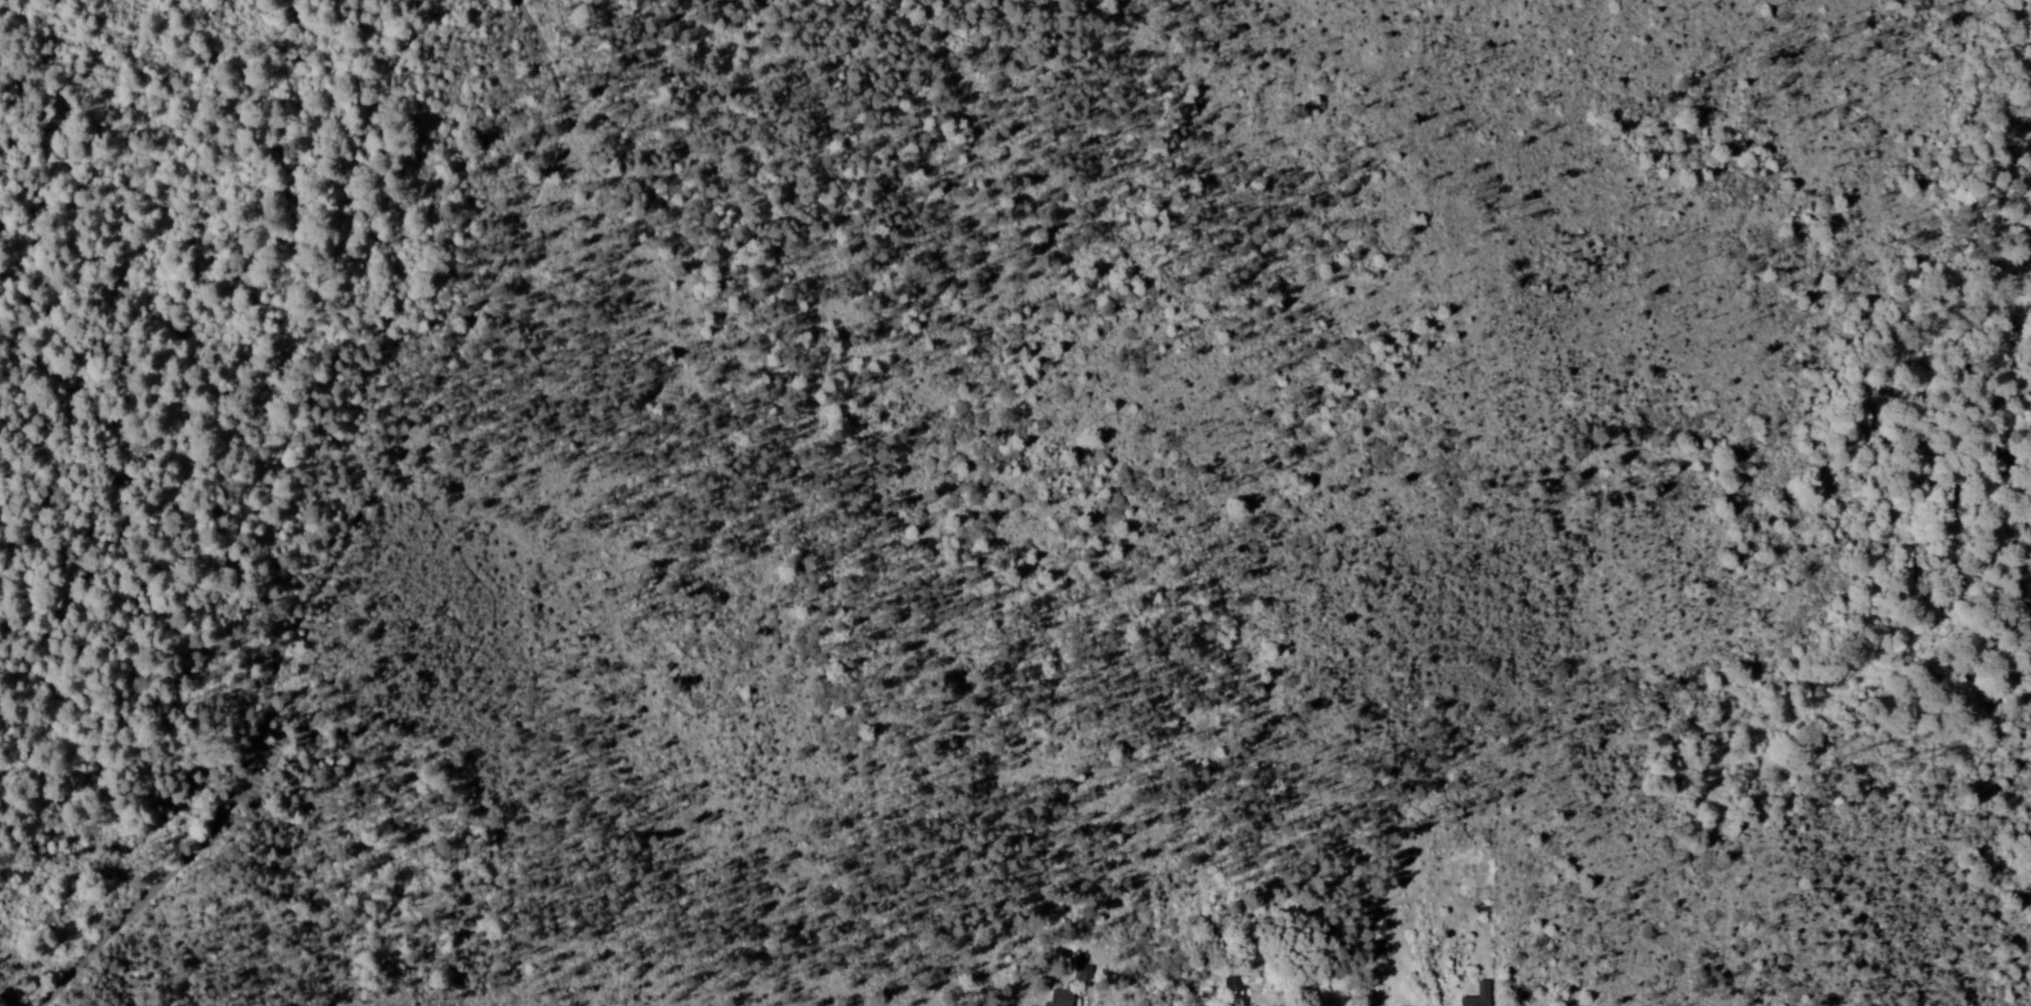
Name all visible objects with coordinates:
road: (632, 46)
road: (447, 369)
road: (403, 480)
road: (400, 496)
road: (294, 711)
parking lot: (265, 774)
road: (171, 878)
building: (1079, 969)
building: (1232, 991)
building: (1473, 996)
building: (1058, 997)

